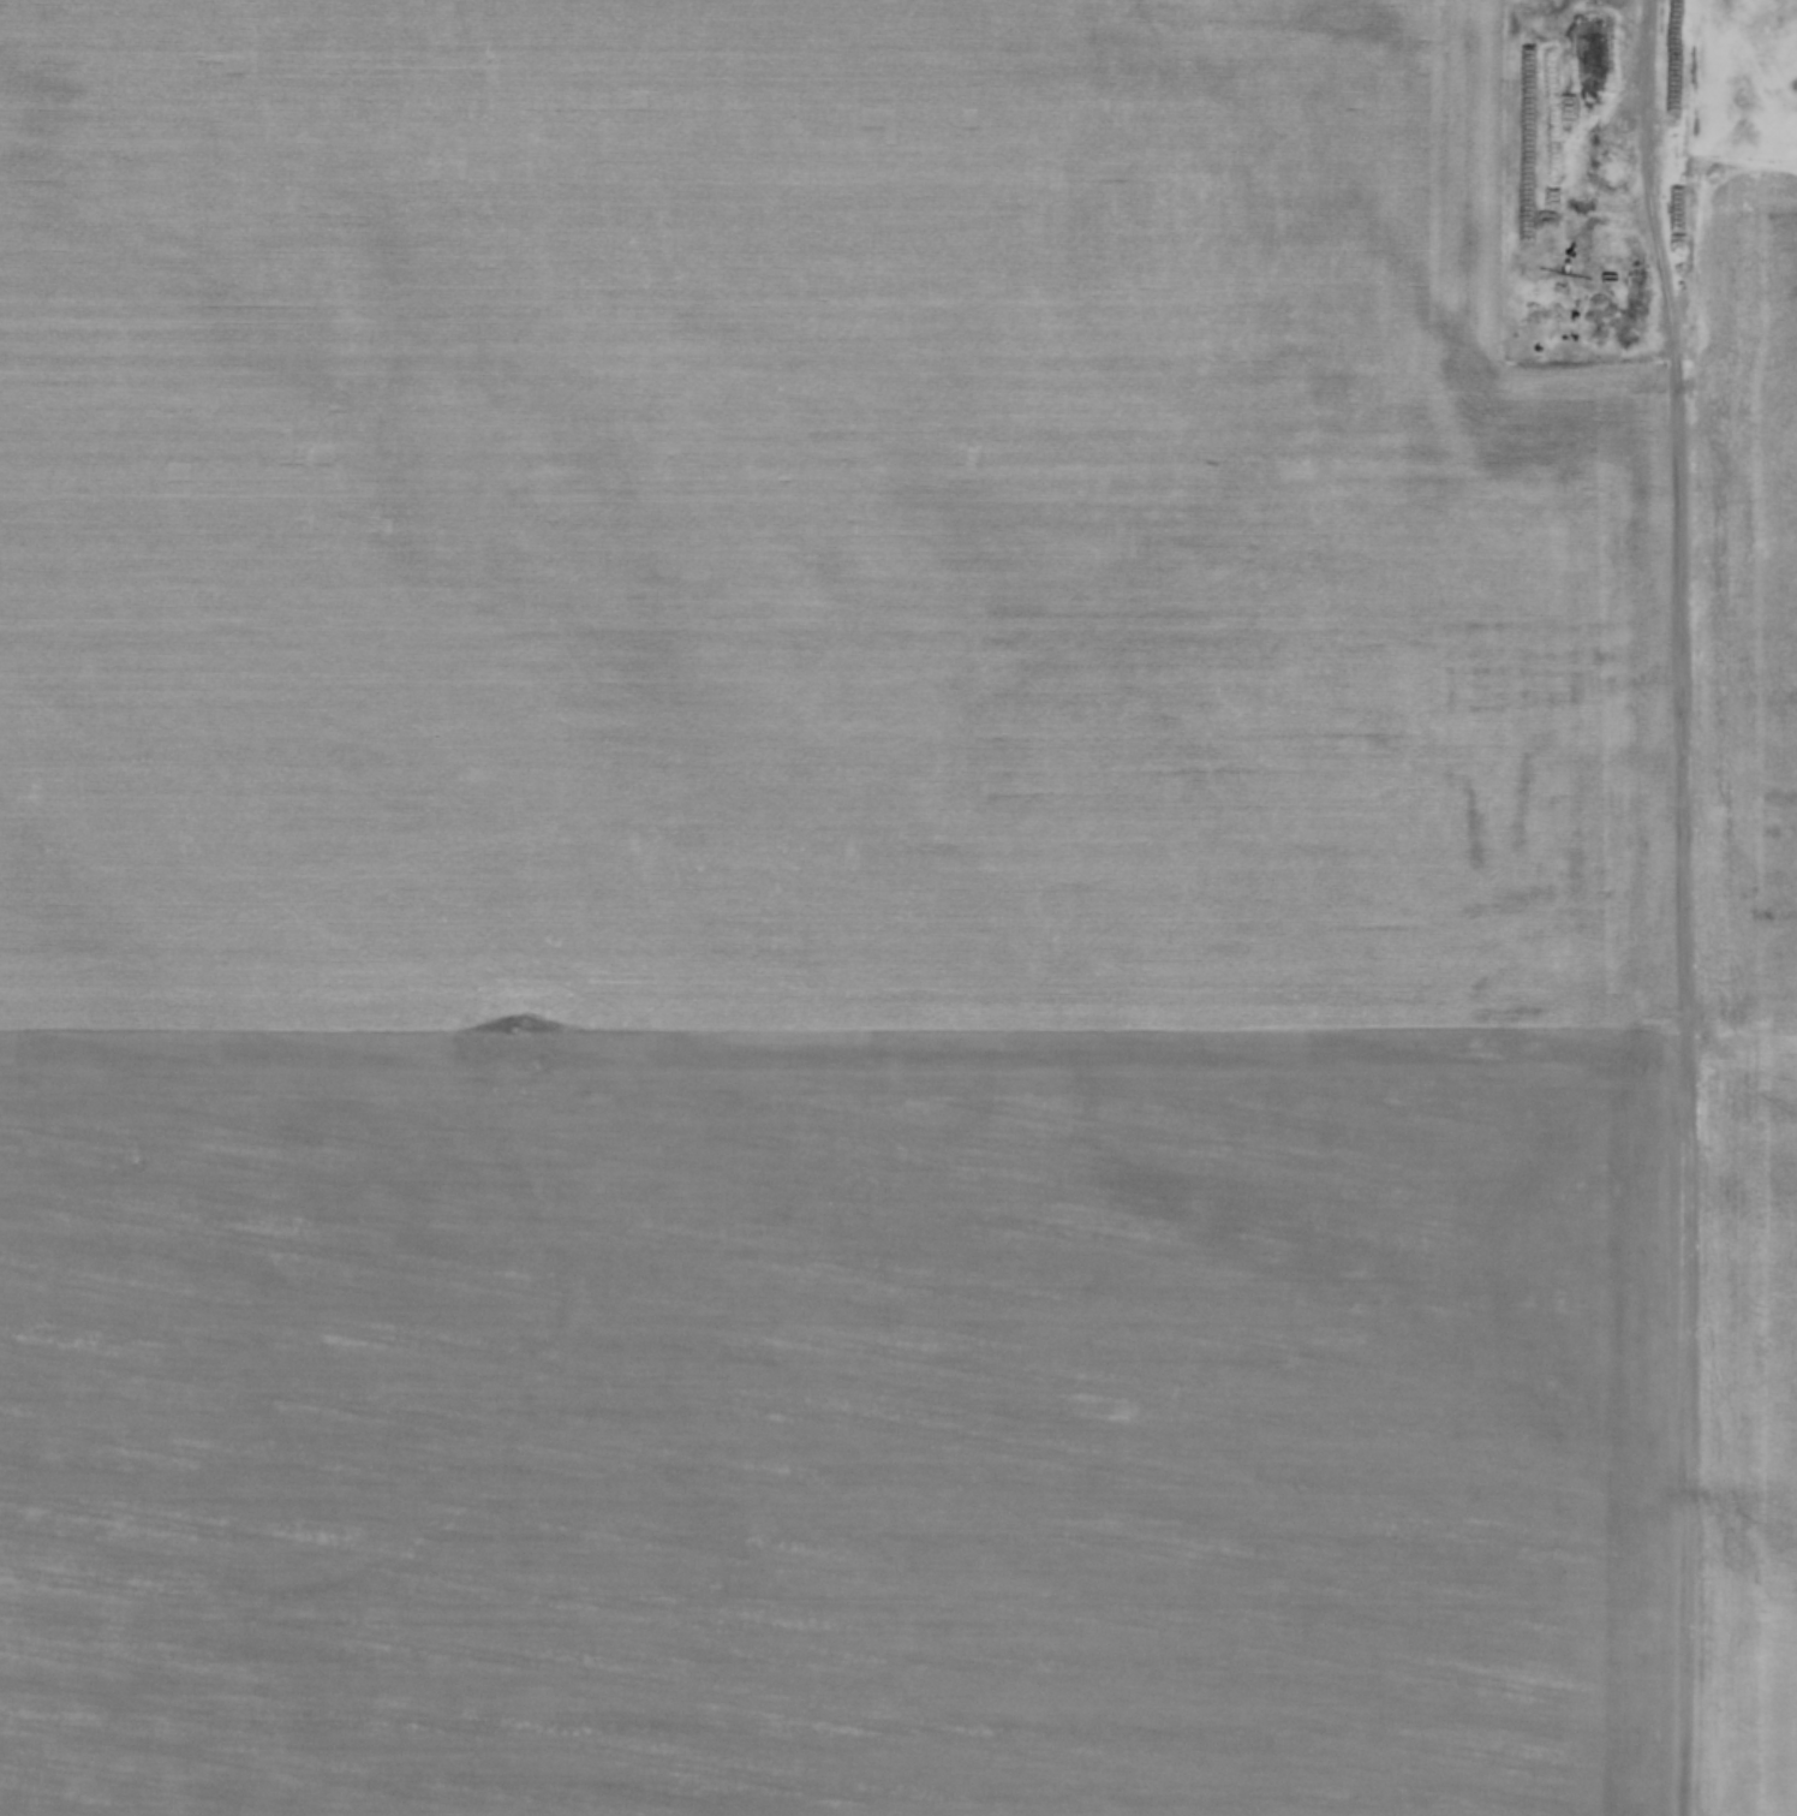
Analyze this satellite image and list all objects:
road: (1649, 505)

